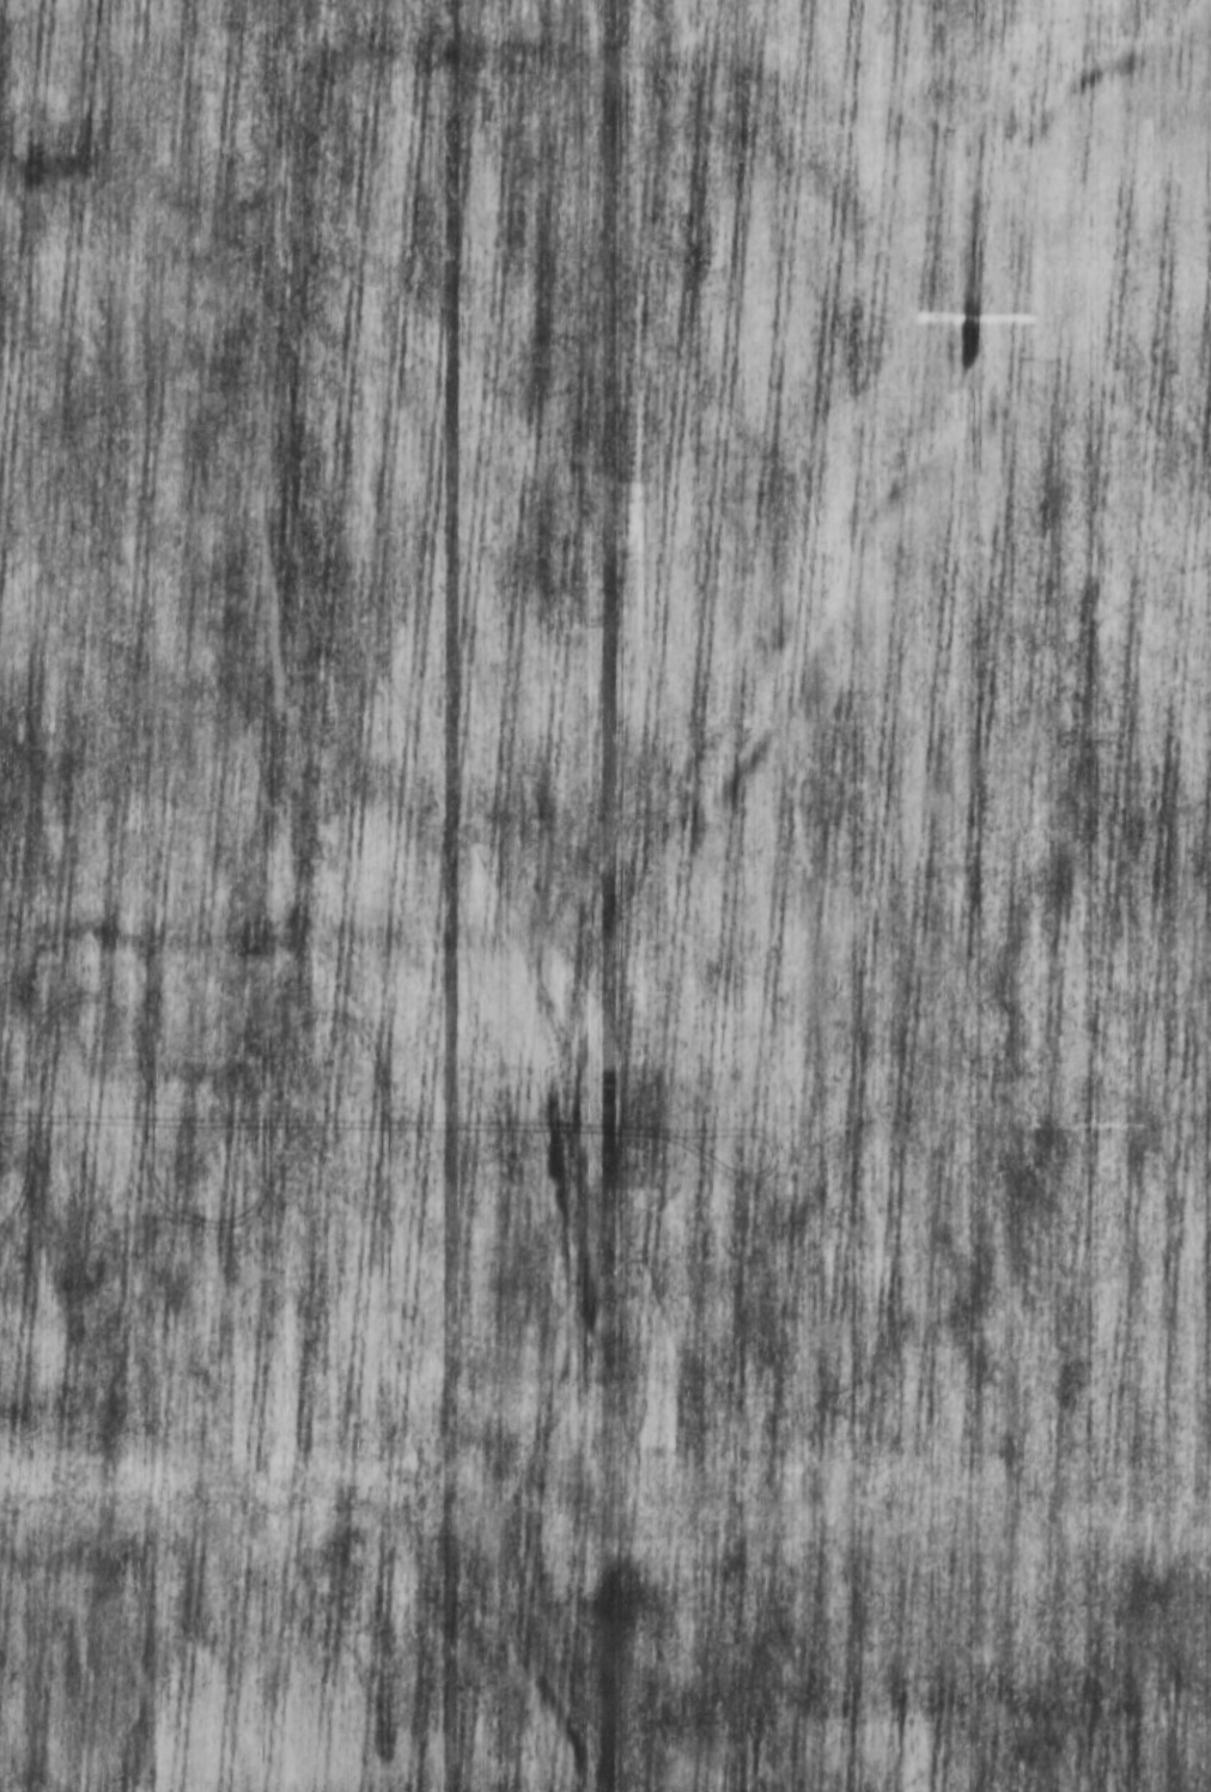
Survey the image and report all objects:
crop: (605, 772)
crop: (600, 1668)

